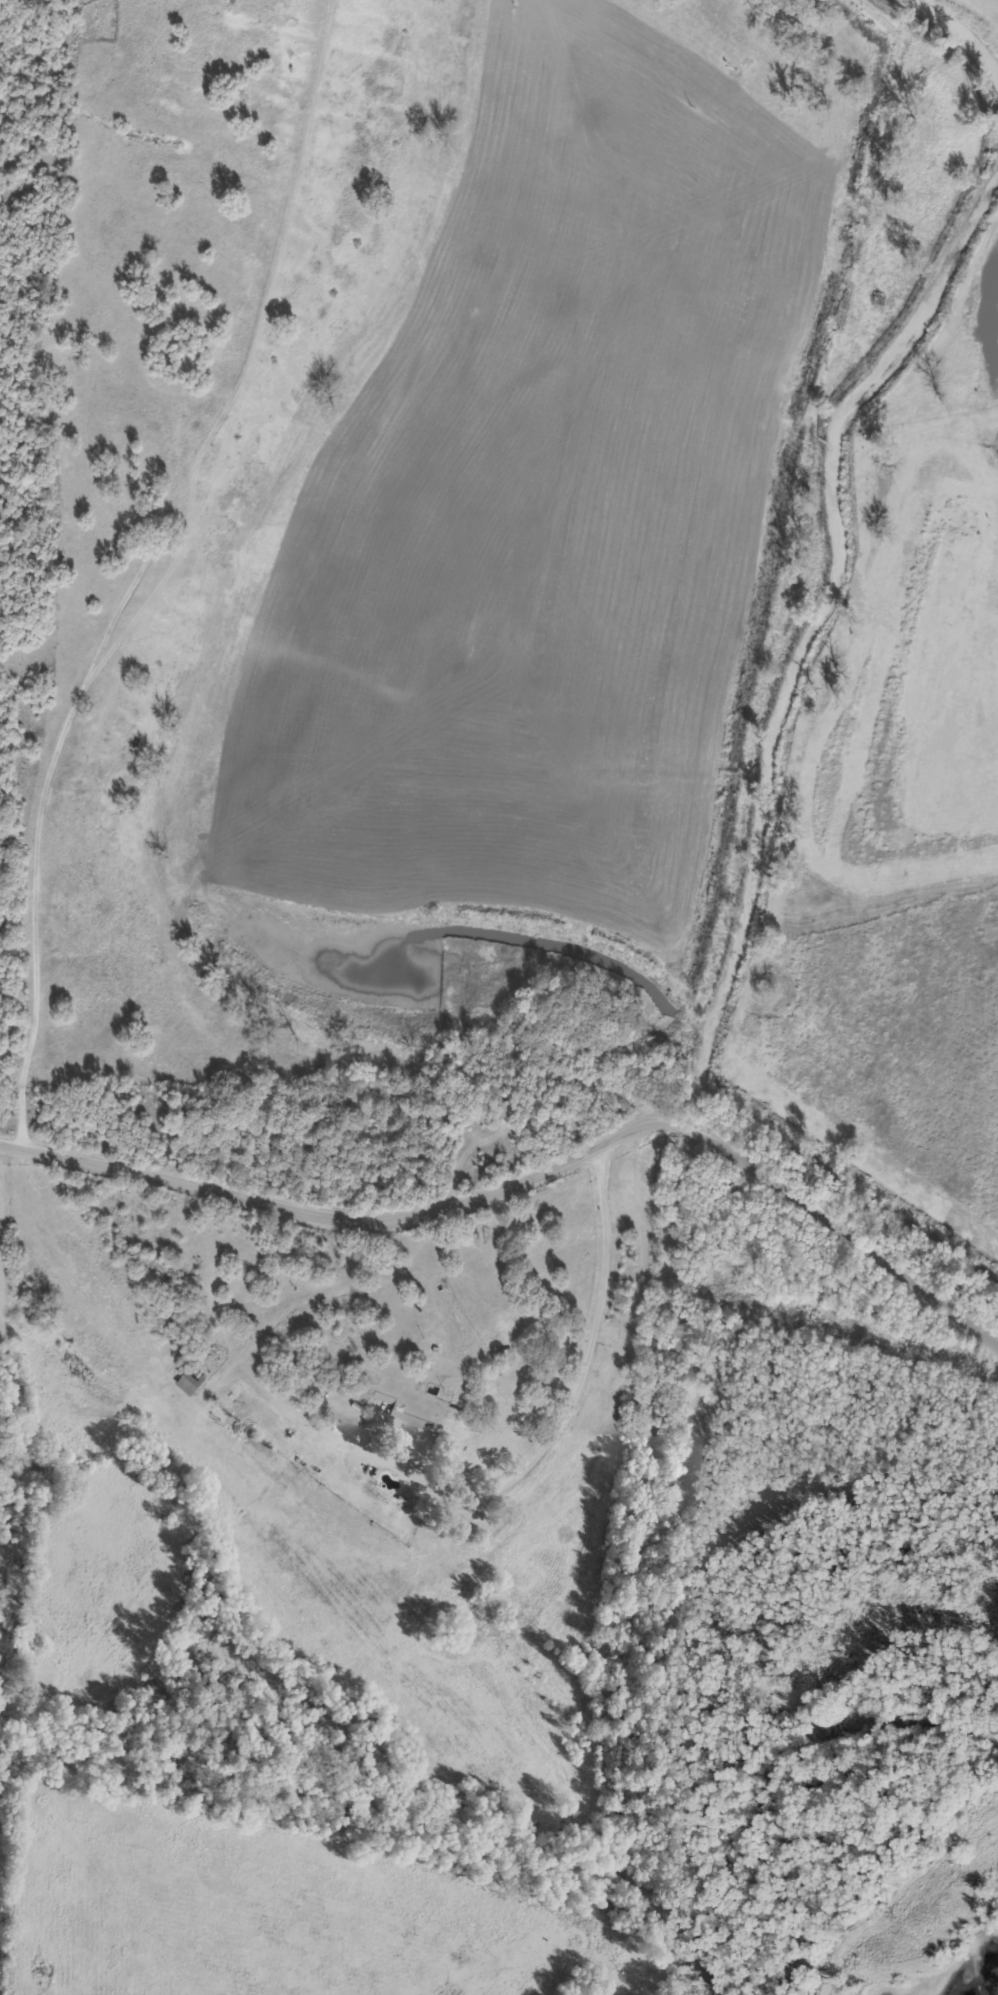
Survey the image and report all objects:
road: (89, 574)
road: (535, 1186)
building: (186, 1380)
road: (571, 1399)
building: (380, 1403)

